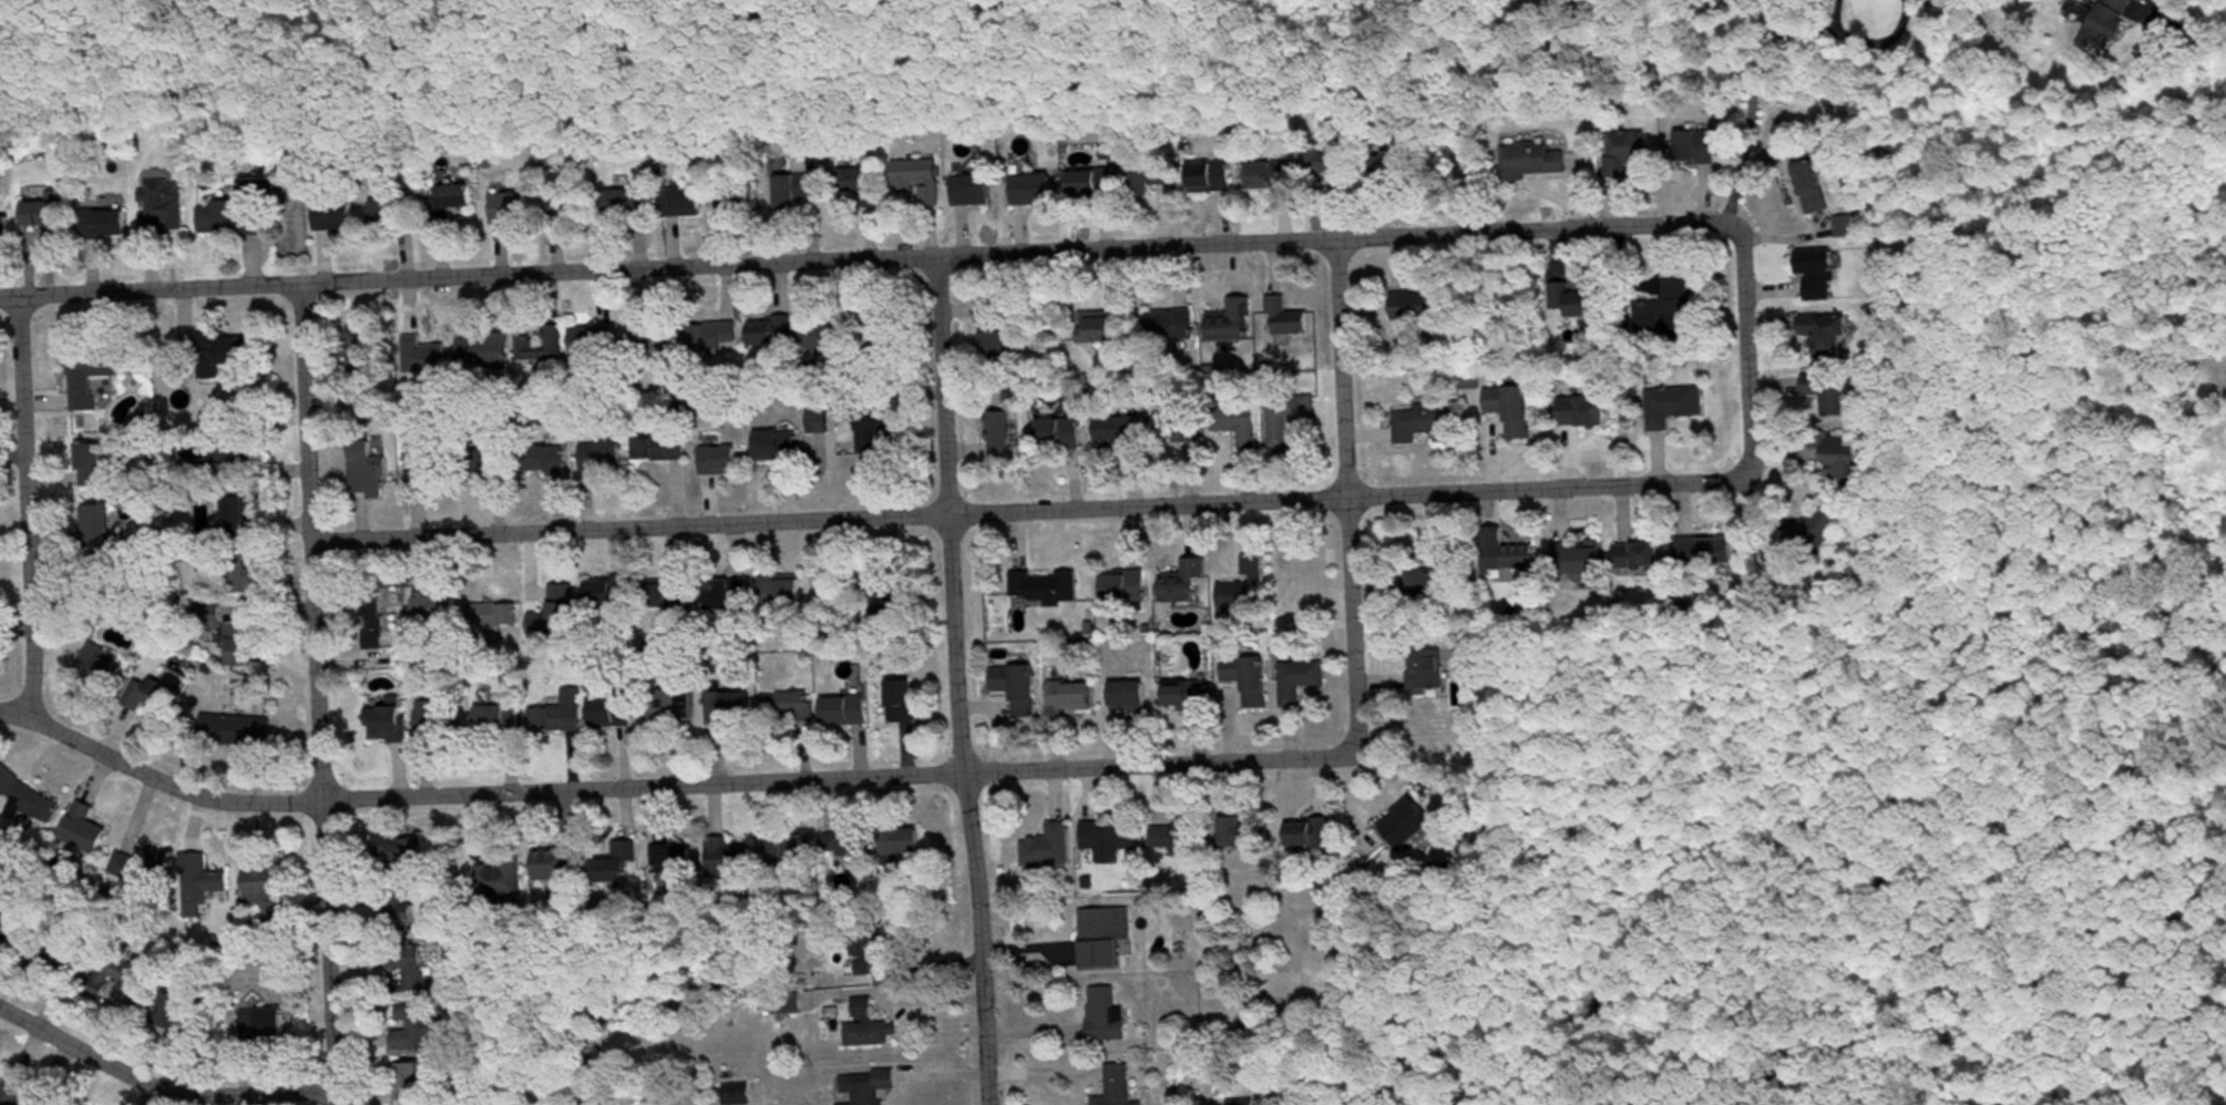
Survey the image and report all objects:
building: (2109, 27)
building: (1699, 149)
building: (1631, 153)
building: (1537, 161)
building: (1363, 165)
building: (1158, 174)
building: (1272, 175)
building: (1215, 176)
building: (862, 181)
building: (921, 181)
building: (1096, 184)
building: (1814, 188)
building: (1032, 191)
building: (796, 192)
building: (974, 192)
building: (454, 198)
building: (695, 203)
building: (627, 206)
building: (163, 208)
building: (511, 209)
building: (577, 211)
building: (48, 214)
building: (236, 214)
building: (336, 217)
building: (106, 225)
road: (866, 259)
building: (1820, 277)
building: (1425, 306)
building: (1586, 306)
building: (1676, 307)
building: (1288, 320)
building: (1234, 324)
building: (1177, 325)
building: (1106, 326)
building: (997, 329)
building: (773, 334)
building: (1829, 335)
building: (715, 336)
building: (656, 338)
building: (595, 341)
building: (835, 341)
building: (543, 347)
building: (888, 347)
building: (490, 348)
building: (360, 349)
road: (1744, 351)
building: (220, 356)
building: (92, 376)
building: (1007, 395)
building: (1839, 401)
building: (1061, 408)
building: (1669, 408)
building: (847, 410)
building: (1514, 410)
building: (1586, 412)
building: (1291, 420)
building: (819, 421)
building: (881, 424)
building: (1238, 426)
building: (1428, 426)
building: (1180, 430)
building: (1063, 432)
building: (1120, 433)
building: (1001, 436)
building: (779, 447)
building: (661, 449)
building: (232, 457)
building: (604, 458)
building: (720, 459)
building: (1845, 461)
building: (524, 463)
building: (93, 467)
building: (429, 469)
building: (368, 474)
road: (1341, 494)
road: (23, 510)
road: (1024, 510)
building: (239, 528)
building: (1815, 534)
building: (1707, 553)
building: (1640, 557)
building: (1512, 559)
building: (1579, 559)
building: (1442, 576)
building: (246, 580)
building: (1296, 582)
building: (1186, 584)
building: (1126, 587)
road: (947, 590)
building: (1247, 590)
building: (782, 591)
building: (1047, 591)
building: (611, 594)
building: (730, 596)
building: (675, 597)
building: (891, 603)
building: (439, 610)
building: (557, 616)
building: (496, 617)
building: (375, 624)
building: (248, 645)
building: (101, 668)
building: (1428, 671)
building: (1304, 675)
building: (1250, 679)
building: (1019, 689)
road: (314, 692)
building: (154, 697)
building: (1189, 697)
building: (1073, 698)
building: (1130, 698)
building: (904, 703)
building: (673, 704)
building: (789, 708)
building: (731, 709)
building: (847, 712)
building: (613, 713)
building: (437, 719)
building: (500, 719)
building: (557, 720)
building: (388, 726)
building: (240, 733)
road: (664, 785)
building: (31, 800)
building: (1408, 825)
building: (84, 830)
building: (1241, 835)
building: (1311, 835)
building: (1110, 839)
building: (905, 842)
building: (1176, 842)
building: (847, 845)
building: (790, 848)
building: (1049, 849)
building: (412, 851)
building: (729, 858)
building: (675, 861)
building: (618, 863)
building: (558, 864)
building: (142, 867)
building: (502, 878)
building: (263, 894)
building: (401, 907)
building: (12, 933)
building: (1104, 938)
building: (866, 954)
building: (45, 959)
building: (410, 970)
building: (123, 975)
road: (977, 1013)
building: (177, 1017)
building: (1106, 1017)
building: (273, 1025)
building: (418, 1027)
building: (871, 1029)
building: (1193, 1081)
building: (409, 1085)
road: (156, 1087)
building: (1118, 1087)
building: (865, 1088)
building: (11, 1091)
building: (738, 1095)
building: (1242, 1103)
building: (49, 1104)

